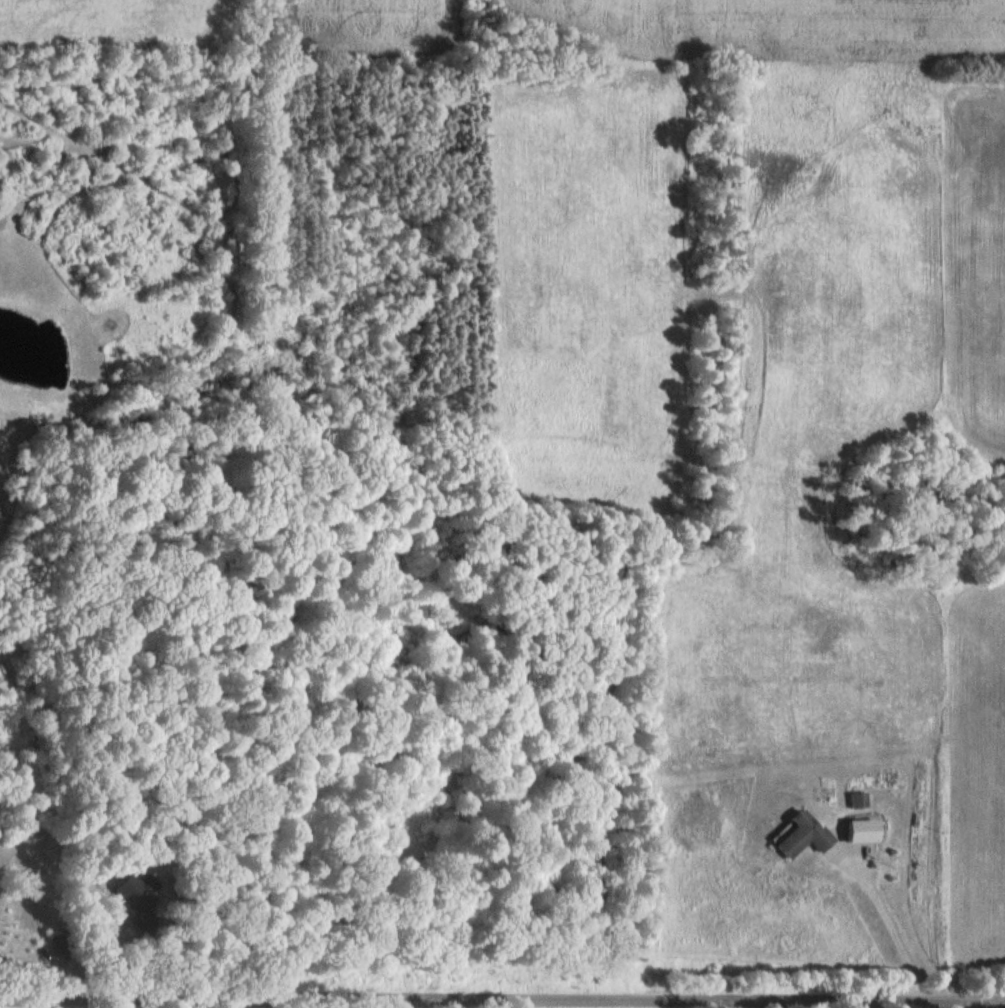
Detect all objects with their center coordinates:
building: (854, 800)
building: (798, 836)
building: (124, 893)
road: (887, 928)
road: (502, 991)

